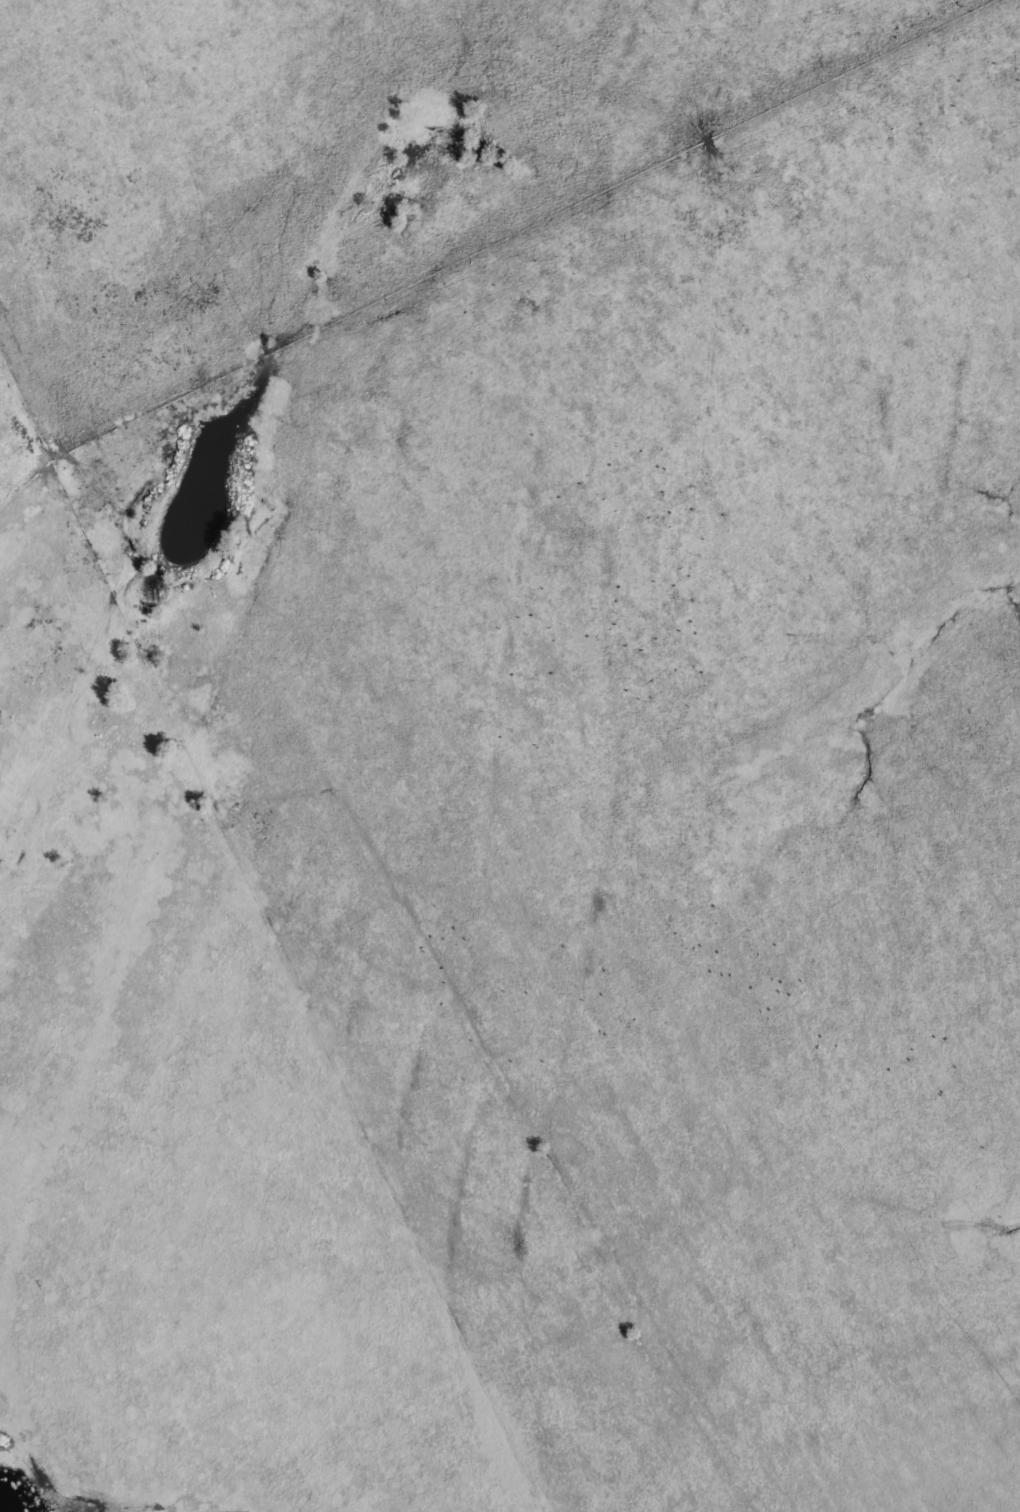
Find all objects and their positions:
road: (650, 1376)

